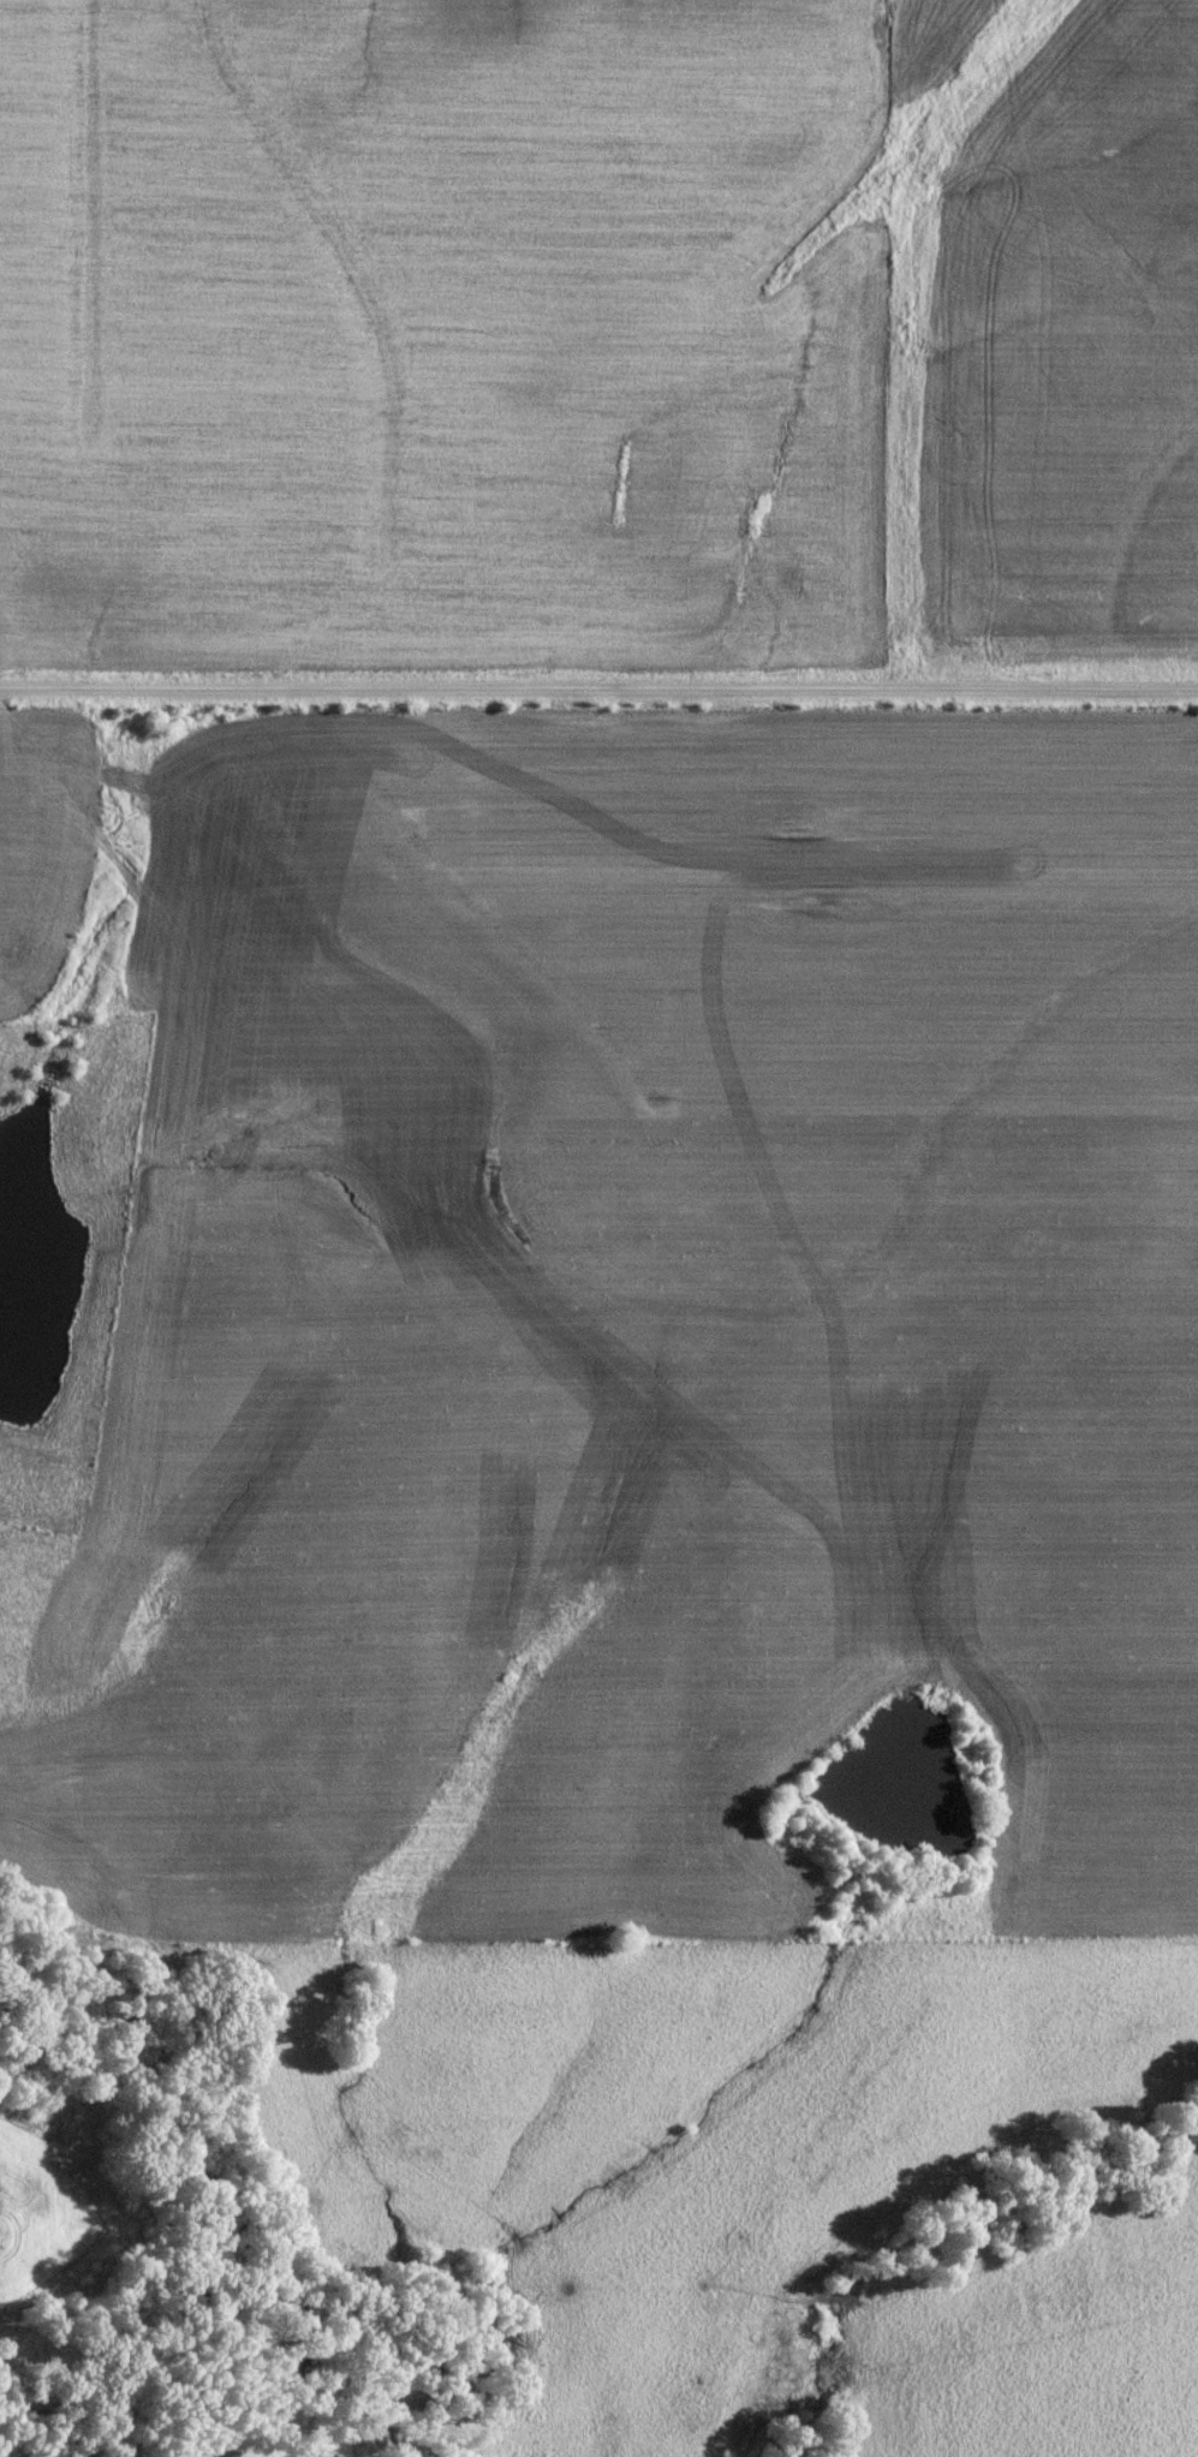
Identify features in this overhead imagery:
road: (598, 688)

